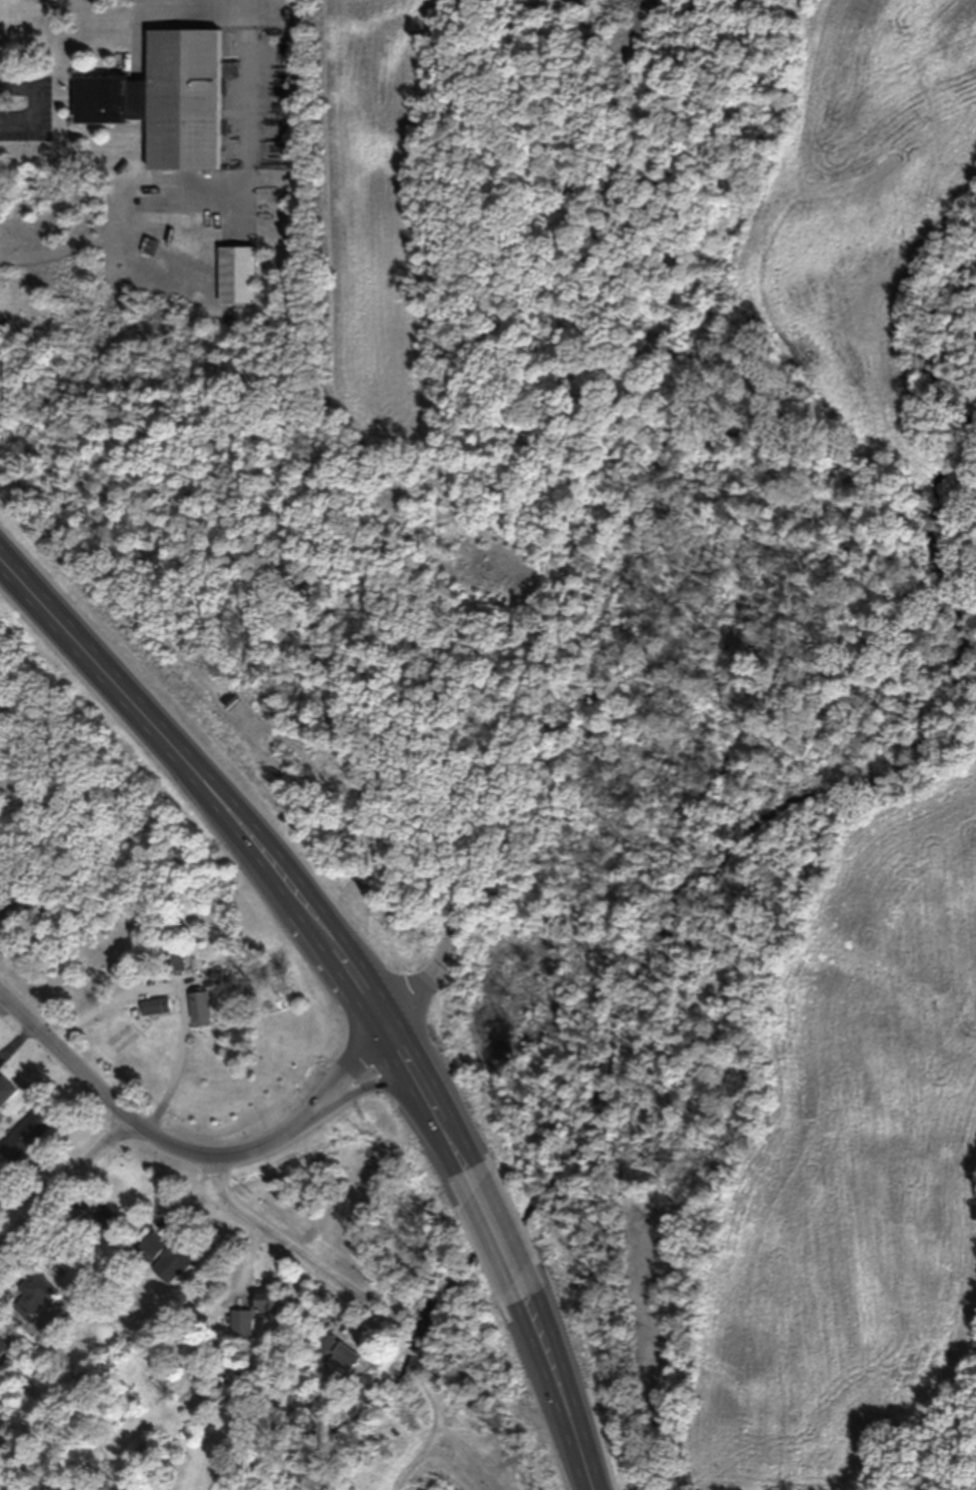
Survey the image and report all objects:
road: (236, 14)
building: (178, 98)
road: (34, 102)
road: (248, 115)
crop: (861, 194)
crop: (377, 207)
building: (239, 275)
road: (441, 668)
park: (340, 692)
road: (509, 755)
road: (259, 851)
building: (0, 899)
building: (176, 962)
road: (429, 972)
road: (180, 989)
building: (154, 1007)
building: (200, 1009)
building: (6, 1090)
road: (98, 1096)
road: (313, 1118)
building: (28, 1134)
road: (63, 1190)
building: (106, 1218)
road: (494, 1229)
road: (279, 1241)
building: (167, 1257)
building: (37, 1294)
building: (270, 1299)
building: (241, 1324)
building: (4, 1346)
building: (347, 1357)
road: (555, 1383)

